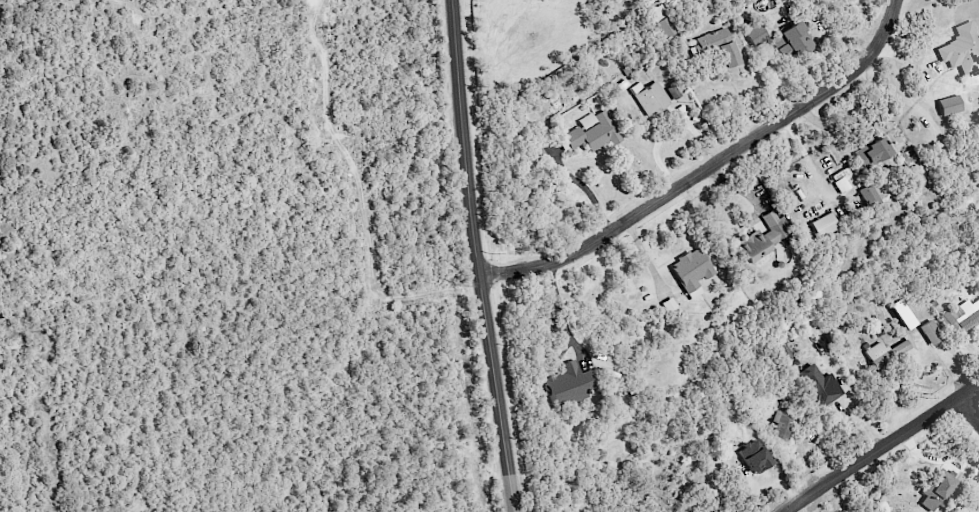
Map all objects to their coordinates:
building: (662, 21)
building: (754, 32)
building: (794, 42)
building: (716, 46)
building: (962, 49)
building: (650, 97)
building: (949, 105)
building: (594, 133)
building: (871, 152)
road: (708, 167)
building: (869, 195)
building: (824, 224)
building: (765, 235)
road: (476, 256)
road: (650, 263)
building: (691, 271)
building: (897, 308)
road: (561, 311)
building: (961, 316)
building: (930, 332)
building: (889, 352)
building: (568, 384)
building: (820, 385)
road: (968, 409)
building: (782, 426)
road: (881, 446)
building: (753, 456)
building: (938, 489)

